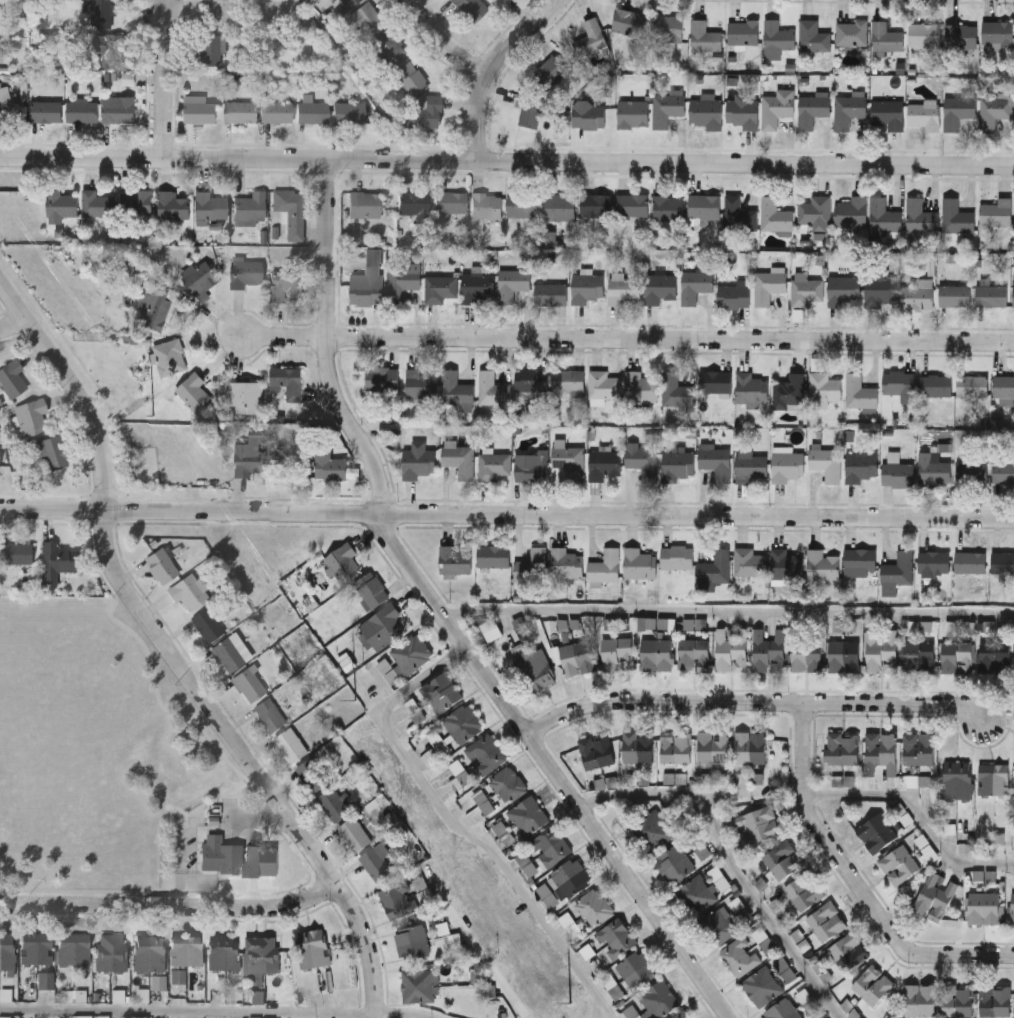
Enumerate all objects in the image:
building: (503, 0)
building: (350, 4)
building: (469, 8)
building: (101, 14)
building: (221, 14)
building: (629, 21)
building: (368, 22)
building: (668, 28)
building: (744, 32)
building: (852, 32)
building: (998, 32)
building: (924, 34)
building: (705, 35)
building: (813, 35)
building: (961, 36)
building: (591, 37)
building: (778, 37)
building: (886, 37)
road: (444, 44)
building: (210, 50)
building: (110, 51)
building: (390, 52)
road: (495, 67)
building: (551, 71)
building: (129, 78)
road: (164, 82)
building: (410, 82)
building: (5, 99)
building: (777, 107)
building: (813, 107)
building: (199, 108)
building: (530, 108)
building: (667, 108)
building: (849, 109)
building: (743, 110)
building: (958, 110)
building: (82, 111)
building: (118, 111)
building: (994, 111)
building: (46, 112)
building: (239, 112)
building: (276, 112)
building: (312, 112)
building: (707, 112)
building: (349, 113)
building: (588, 113)
building: (633, 113)
building: (889, 113)
building: (925, 114)
building: (428, 115)
building: (399, 128)
road: (507, 159)
building: (61, 204)
building: (137, 204)
building: (97, 205)
building: (451, 205)
building: (414, 206)
building: (524, 206)
building: (595, 206)
building: (173, 207)
building: (365, 207)
building: (486, 207)
building: (632, 207)
building: (210, 208)
building: (560, 208)
building: (704, 208)
building: (250, 209)
building: (668, 209)
building: (815, 212)
building: (851, 213)
building: (997, 213)
building: (291, 214)
building: (738, 216)
building: (775, 217)
building: (920, 217)
building: (885, 218)
building: (956, 218)
building: (549, 237)
building: (373, 256)
building: (555, 256)
building: (952, 258)
building: (131, 266)
building: (247, 274)
building: (201, 281)
building: (403, 282)
building: (513, 285)
building: (285, 286)
building: (695, 287)
building: (768, 287)
building: (477, 288)
building: (660, 289)
building: (440, 290)
building: (588, 290)
building: (623, 290)
building: (807, 291)
building: (844, 291)
building: (367, 292)
building: (881, 292)
building: (990, 294)
building: (551, 295)
building: (1013, 295)
building: (919, 296)
building: (955, 297)
building: (734, 298)
building: (154, 308)
road: (14, 324)
road: (629, 340)
road: (328, 341)
building: (168, 359)
building: (382, 379)
building: (531, 380)
building: (11, 381)
building: (287, 382)
building: (568, 382)
building: (715, 383)
building: (422, 384)
building: (900, 385)
building: (604, 386)
building: (936, 386)
building: (972, 387)
building: (1004, 387)
building: (640, 388)
building: (456, 390)
building: (492, 390)
building: (824, 390)
building: (751, 391)
building: (676, 392)
building: (193, 393)
building: (787, 394)
building: (860, 394)
building: (245, 398)
power tower: (144, 414)
building: (31, 418)
building: (997, 422)
building: (944, 447)
building: (53, 455)
building: (459, 458)
building: (642, 460)
building: (248, 461)
building: (568, 461)
building: (717, 461)
building: (418, 462)
building: (603, 463)
building: (677, 463)
building: (750, 464)
building: (827, 464)
building: (493, 465)
building: (531, 465)
building: (787, 467)
building: (861, 467)
building: (331, 468)
building: (934, 470)
building: (354, 473)
building: (969, 473)
building: (1004, 474)
building: (899, 475)
road: (507, 512)
building: (15, 556)
building: (493, 557)
building: (677, 558)
building: (454, 562)
building: (749, 563)
building: (860, 563)
building: (55, 564)
building: (342, 564)
building: (566, 564)
building: (971, 564)
building: (1003, 564)
building: (604, 565)
building: (639, 565)
building: (935, 565)
building: (786, 566)
building: (532, 567)
building: (823, 567)
building: (161, 568)
building: (715, 569)
building: (899, 570)
building: (371, 592)
building: (189, 594)
road: (728, 610)
building: (207, 627)
building: (382, 628)
building: (490, 628)
building: (732, 651)
road: (173, 653)
building: (770, 653)
building: (618, 654)
building: (882, 654)
building: (411, 655)
building: (657, 655)
building: (694, 655)
building: (807, 656)
building: (845, 656)
building: (919, 656)
building: (228, 657)
building: (957, 658)
building: (578, 659)
building: (996, 659)
building: (533, 667)
building: (249, 686)
building: (442, 694)
road: (756, 703)
power tower: (354, 709)
building: (271, 716)
building: (463, 725)
building: (438, 743)
building: (291, 746)
building: (638, 747)
building: (713, 748)
building: (676, 749)
building: (751, 749)
building: (841, 749)
building: (919, 749)
park: (92, 750)
building: (596, 752)
building: (485, 755)
building: (882, 755)
road: (553, 765)
park: (119, 768)
building: (312, 776)
building: (995, 780)
building: (958, 781)
building: (508, 786)
building: (484, 802)
building: (334, 805)
road: (917, 813)
building: (529, 817)
road: (457, 824)
building: (756, 825)
building: (504, 833)
building: (653, 833)
building: (877, 834)
building: (355, 836)
building: (1000, 838)
building: (550, 848)
building: (219, 857)
road: (734, 858)
building: (262, 861)
building: (783, 861)
building: (377, 863)
building: (527, 863)
building: (675, 865)
building: (899, 866)
building: (987, 875)
building: (571, 879)
road: (859, 880)
building: (804, 892)
building: (548, 895)
building: (696, 896)
building: (935, 899)
building: (397, 901)
road: (171, 907)
building: (595, 908)
building: (1013, 908)
building: (985, 909)
building: (827, 922)
building: (571, 925)
building: (719, 927)
building: (617, 939)
building: (412, 943)
road: (476, 944)
building: (314, 949)
building: (36, 951)
building: (74, 951)
building: (186, 952)
building: (849, 953)
building: (6, 954)
building: (111, 954)
building: (149, 955)
building: (224, 955)
building: (740, 957)
building: (262, 958)
building: (637, 971)
building: (179, 977)
building: (45, 982)
building: (159, 984)
building: (873, 986)
building: (420, 987)
building: (762, 988)
building: (120, 997)
building: (258, 997)
building: (660, 1000)
power tower: (561, 1001)
building: (995, 1001)
building: (920, 1002)
building: (957, 1002)
road: (189, 1006)
building: (783, 1009)
road: (407, 1010)
building: (684, 1015)
building: (4, 1017)
building: (82, 1017)
building: (138, 1017)

